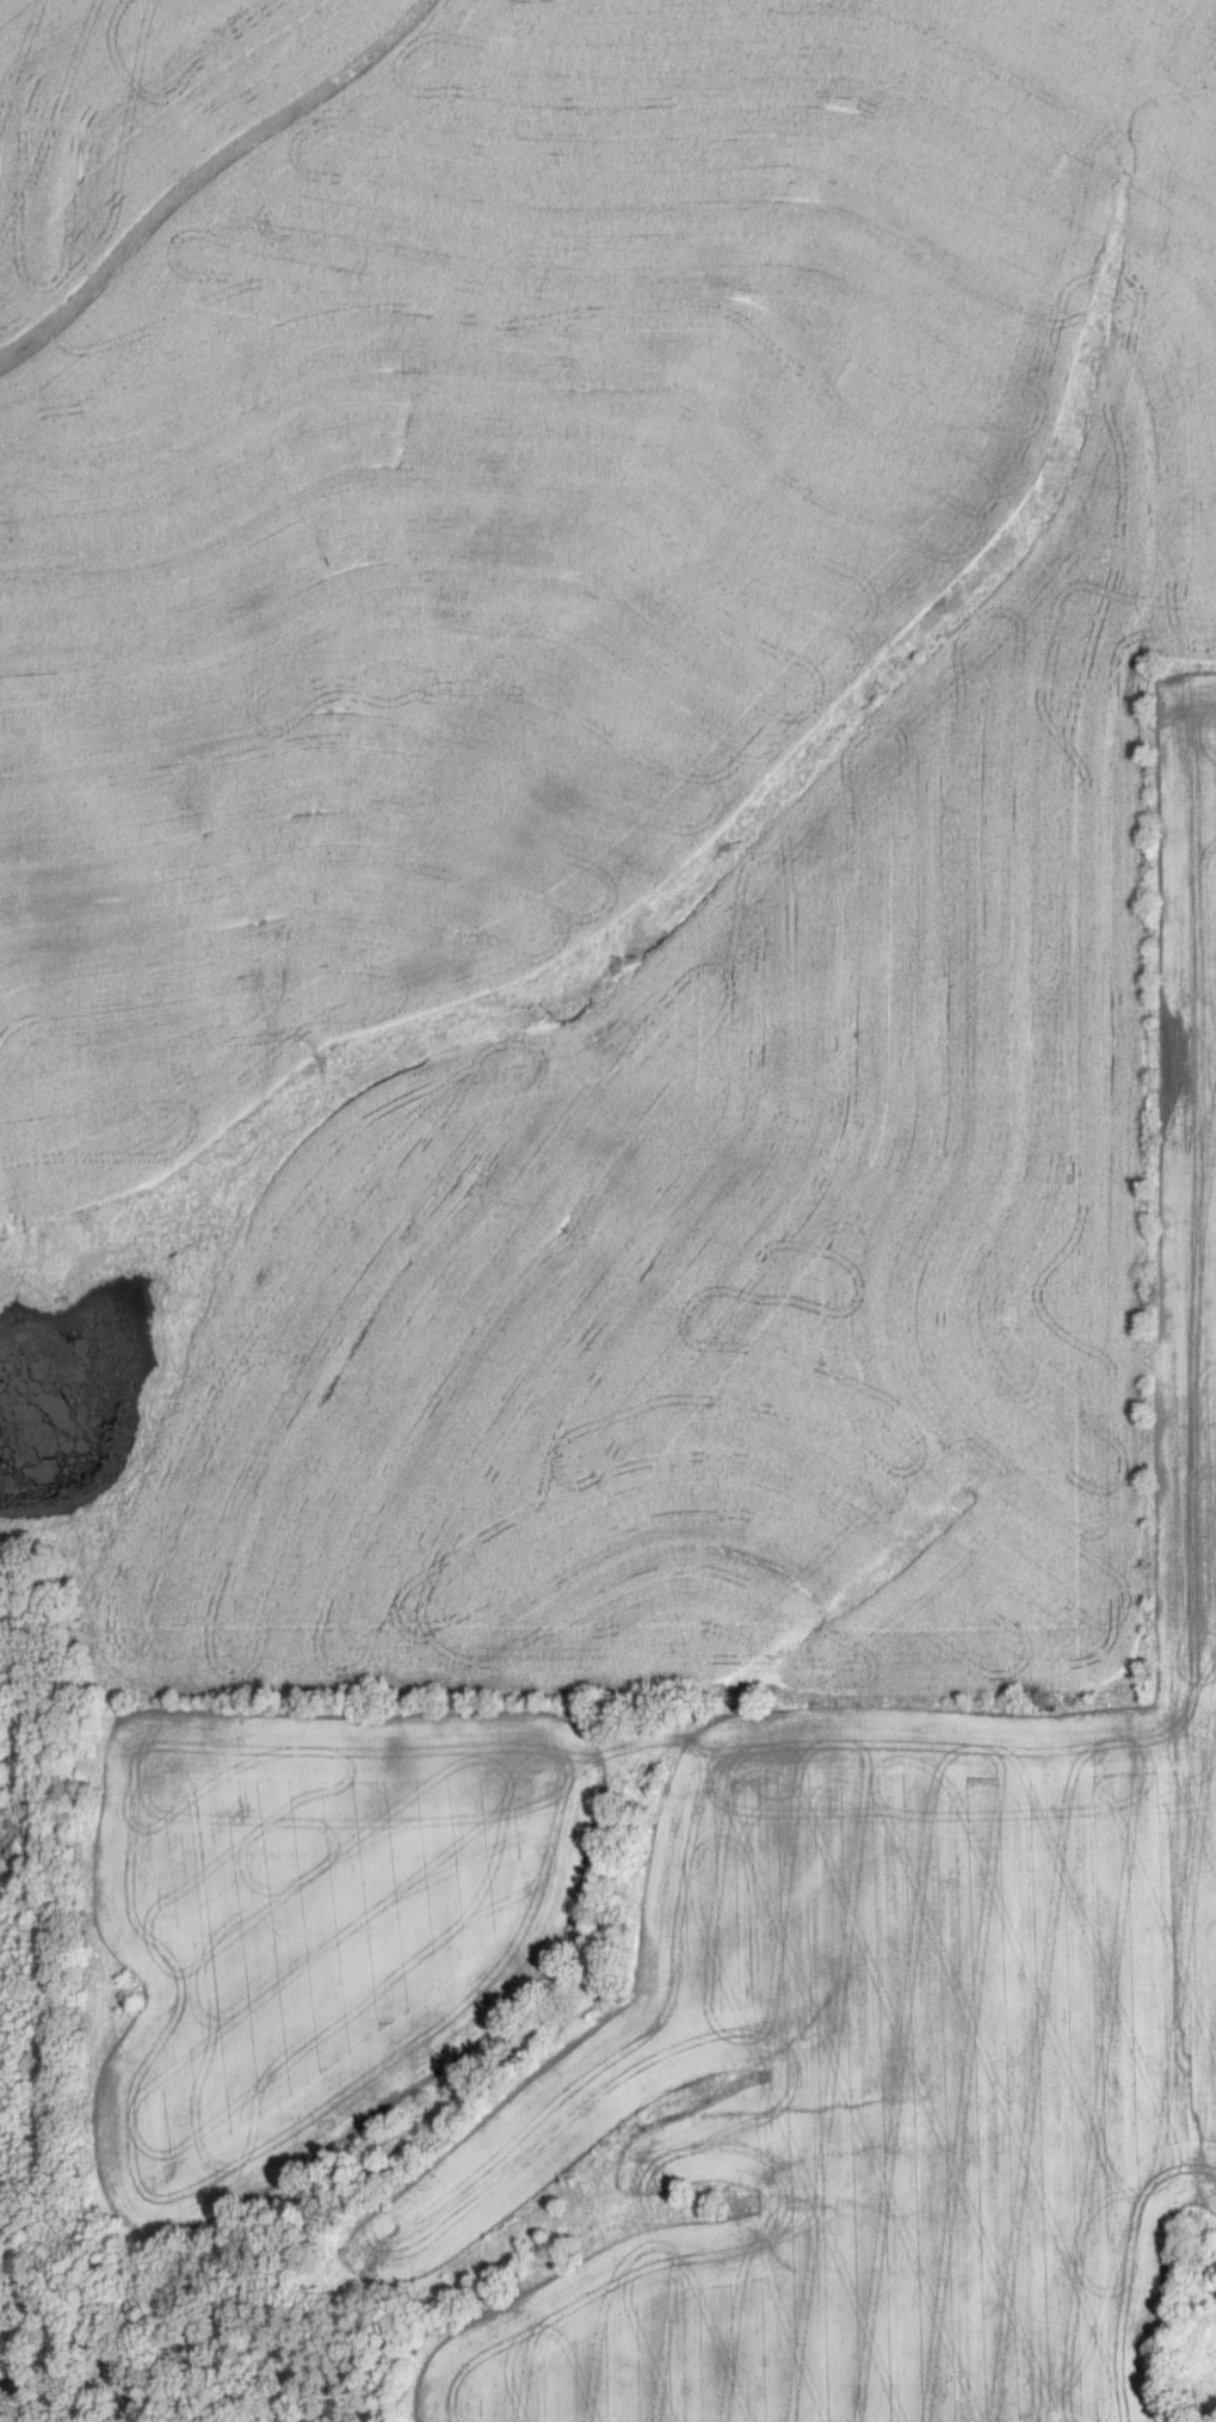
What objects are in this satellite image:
crop: (754, 1194)

